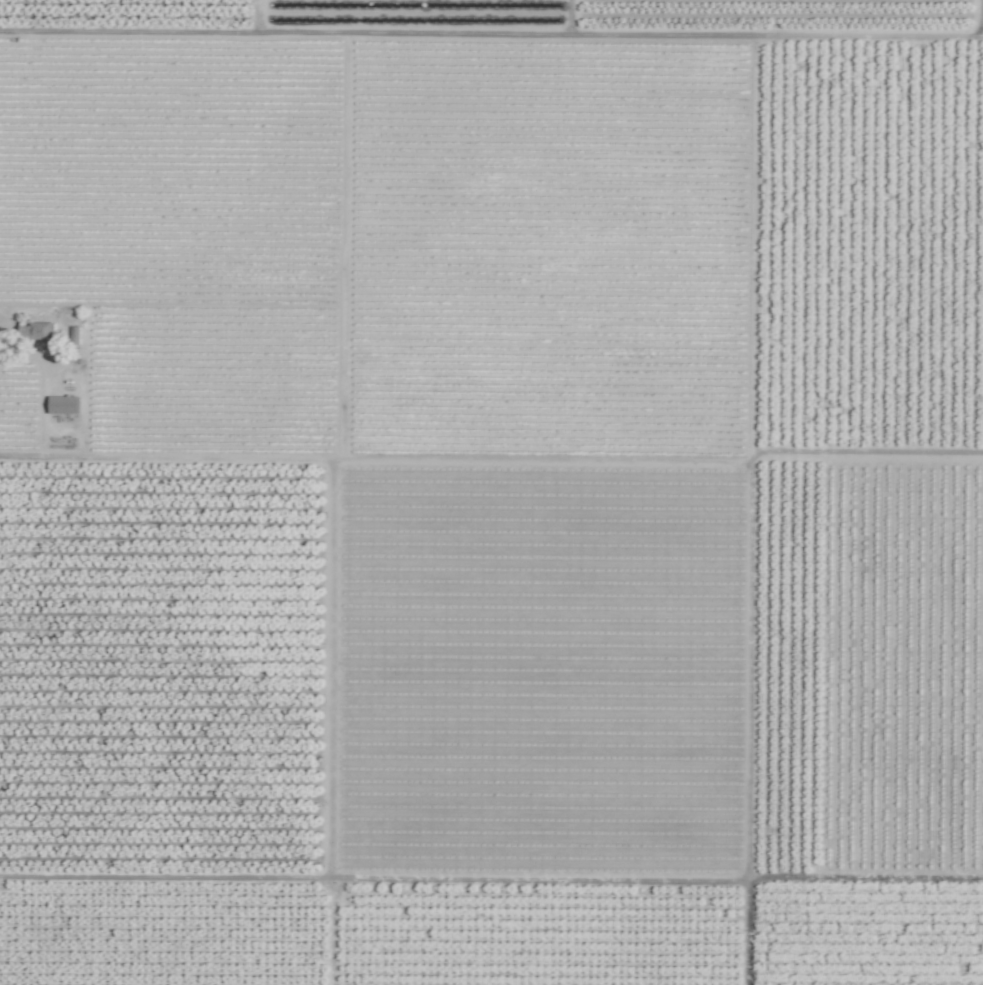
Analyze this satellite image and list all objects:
building: (36, 332)
building: (63, 404)

